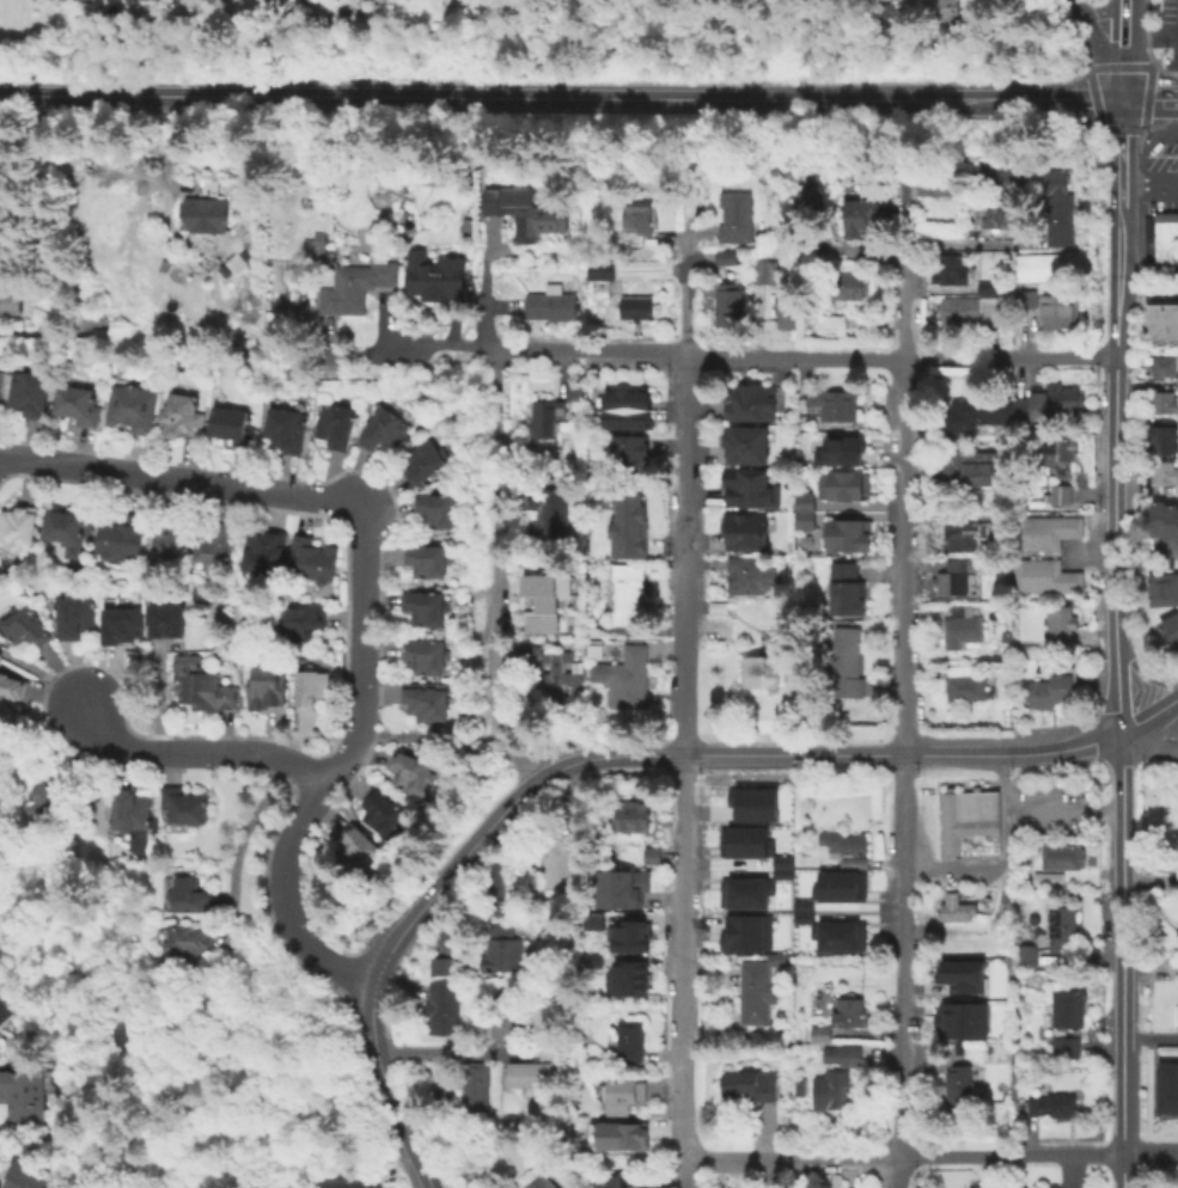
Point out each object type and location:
building: (317, 1)
road: (1073, 4)
road: (1097, 10)
building: (948, 11)
building: (905, 14)
road: (1119, 50)
road: (1099, 53)
road: (1113, 68)
road: (236, 96)
road: (747, 99)
road: (1072, 99)
traffic signals: (1118, 100)
road: (1148, 100)
road: (1116, 153)
road: (161, 161)
building: (927, 172)
building: (936, 188)
building: (905, 189)
road: (1147, 189)
building: (804, 197)
building: (1001, 206)
building: (1058, 207)
building: (514, 208)
building: (200, 214)
building: (737, 216)
building: (861, 216)
building: (639, 222)
building: (465, 227)
building: (1146, 228)
building: (1177, 229)
building: (1164, 238)
road: (964, 243)
building: (315, 244)
building: (727, 256)
building: (1038, 267)
building: (953, 270)
building: (767, 271)
building: (433, 275)
building: (600, 275)
building: (849, 286)
building: (358, 290)
road: (1146, 295)
building: (10, 296)
building: (1027, 301)
road: (684, 302)
building: (730, 305)
building: (553, 306)
building: (635, 307)
building: (969, 310)
building: (785, 311)
building: (1058, 311)
building: (830, 325)
building: (1160, 325)
road: (439, 351)
road: (800, 356)
building: (1158, 371)
building: (29, 393)
building: (77, 404)
building: (749, 404)
building: (838, 405)
building: (1160, 405)
building: (132, 406)
building: (1042, 406)
building: (624, 409)
building: (971, 412)
building: (549, 416)
building: (183, 417)
road: (1112, 424)
building: (233, 425)
building: (336, 427)
building: (287, 429)
building: (384, 430)
building: (1156, 440)
building: (745, 448)
road: (1173, 448)
building: (840, 449)
road: (1158, 449)
road: (1129, 451)
building: (1056, 454)
building: (629, 459)
building: (425, 460)
building: (969, 469)
building: (1160, 474)
building: (842, 490)
building: (747, 494)
road: (326, 496)
building: (1056, 496)
building: (551, 510)
building: (806, 510)
building: (433, 518)
building: (629, 520)
building: (69, 522)
building: (1161, 522)
road: (495, 526)
building: (17, 533)
building: (1055, 533)
building: (1024, 535)
building: (122, 537)
building: (744, 537)
building: (846, 539)
building: (964, 539)
building: (173, 541)
building: (218, 543)
building: (264, 551)
road: (683, 553)
building: (312, 559)
building: (427, 559)
building: (747, 574)
building: (1024, 577)
building: (1055, 578)
building: (947, 587)
building: (1160, 590)
building: (629, 593)
building: (848, 593)
building: (547, 596)
building: (724, 605)
building: (425, 606)
building: (77, 616)
building: (167, 619)
building: (301, 623)
building: (123, 624)
building: (1056, 625)
building: (962, 626)
building: (23, 629)
building: (1167, 632)
building: (425, 655)
building: (847, 661)
building: (761, 669)
road: (1141, 670)
road: (43, 674)
building: (623, 676)
building: (557, 678)
building: (966, 682)
building: (311, 686)
building: (201, 687)
road: (1115, 687)
building: (11, 691)
building: (267, 691)
building: (1055, 691)
building: (1031, 697)
building: (427, 700)
road: (1148, 717)
road: (902, 719)
road: (431, 737)
road: (1146, 743)
road: (197, 753)
road: (901, 753)
road: (605, 755)
building: (407, 771)
building: (751, 803)
building: (45, 809)
building: (185, 810)
building: (380, 813)
road: (1061, 813)
building: (133, 815)
building: (631, 817)
building: (966, 826)
building: (741, 841)
building: (844, 843)
road: (240, 846)
building: (358, 855)
building: (653, 855)
building: (563, 858)
building: (1061, 858)
building: (780, 861)
road: (1005, 864)
building: (781, 872)
building: (1044, 877)
road: (1118, 884)
building: (837, 886)
building: (624, 890)
building: (741, 893)
building: (187, 899)
road: (292, 902)
building: (801, 905)
building: (957, 907)
road: (865, 914)
building: (801, 917)
building: (592, 919)
building: (1062, 926)
building: (744, 932)
building: (834, 935)
building: (628, 936)
building: (187, 950)
road: (684, 953)
building: (502, 954)
building: (1025, 954)
road: (383, 962)
building: (439, 966)
building: (959, 975)
building: (628, 978)
building: (761, 984)
building: (445, 1006)
building: (1064, 1008)
building: (853, 1012)
building: (1177, 1012)
building: (5, 1018)
building: (959, 1019)
building: (514, 1024)
building: (823, 1034)
road: (1148, 1036)
building: (628, 1040)
building: (1062, 1047)
building: (842, 1054)
building: (530, 1077)
building: (475, 1085)
building: (751, 1085)
building: (959, 1086)
building: (834, 1089)
building: (1166, 1090)
building: (24, 1094)
building: (622, 1094)
road: (1118, 1096)
building: (1052, 1103)
building: (619, 1134)
road: (903, 1153)
road: (1148, 1155)
road: (685, 1170)
road: (1119, 1171)
building: (28, 1175)
building: (542, 1182)
building: (614, 1182)
building: (350, 1183)
building: (1051, 1187)

